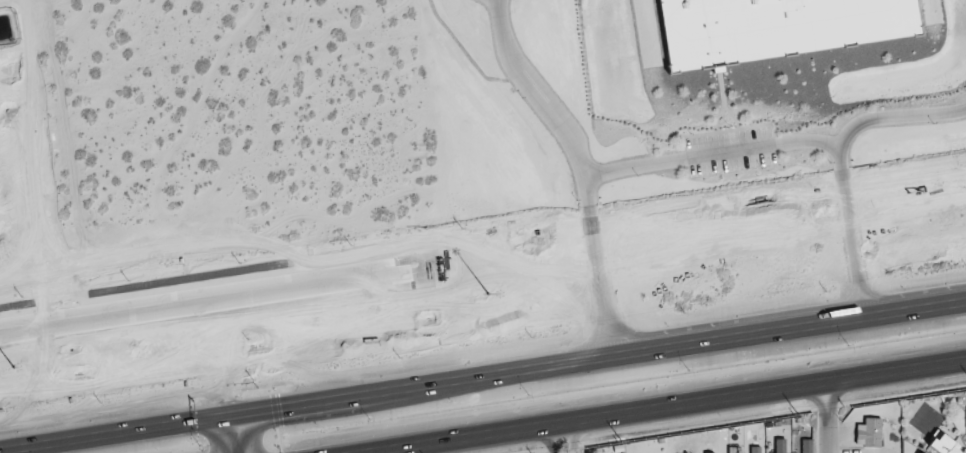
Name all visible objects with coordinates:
building: (771, 28)
road: (554, 112)
road: (869, 120)
road: (708, 155)
road: (590, 239)
road: (107, 314)
road: (682, 365)
road: (925, 365)
road: (240, 397)
road: (627, 411)
road: (828, 417)
building: (869, 432)
road: (576, 433)
road: (548, 439)
building: (780, 445)
building: (943, 445)
building: (756, 448)
building: (733, 450)
building: (706, 452)

